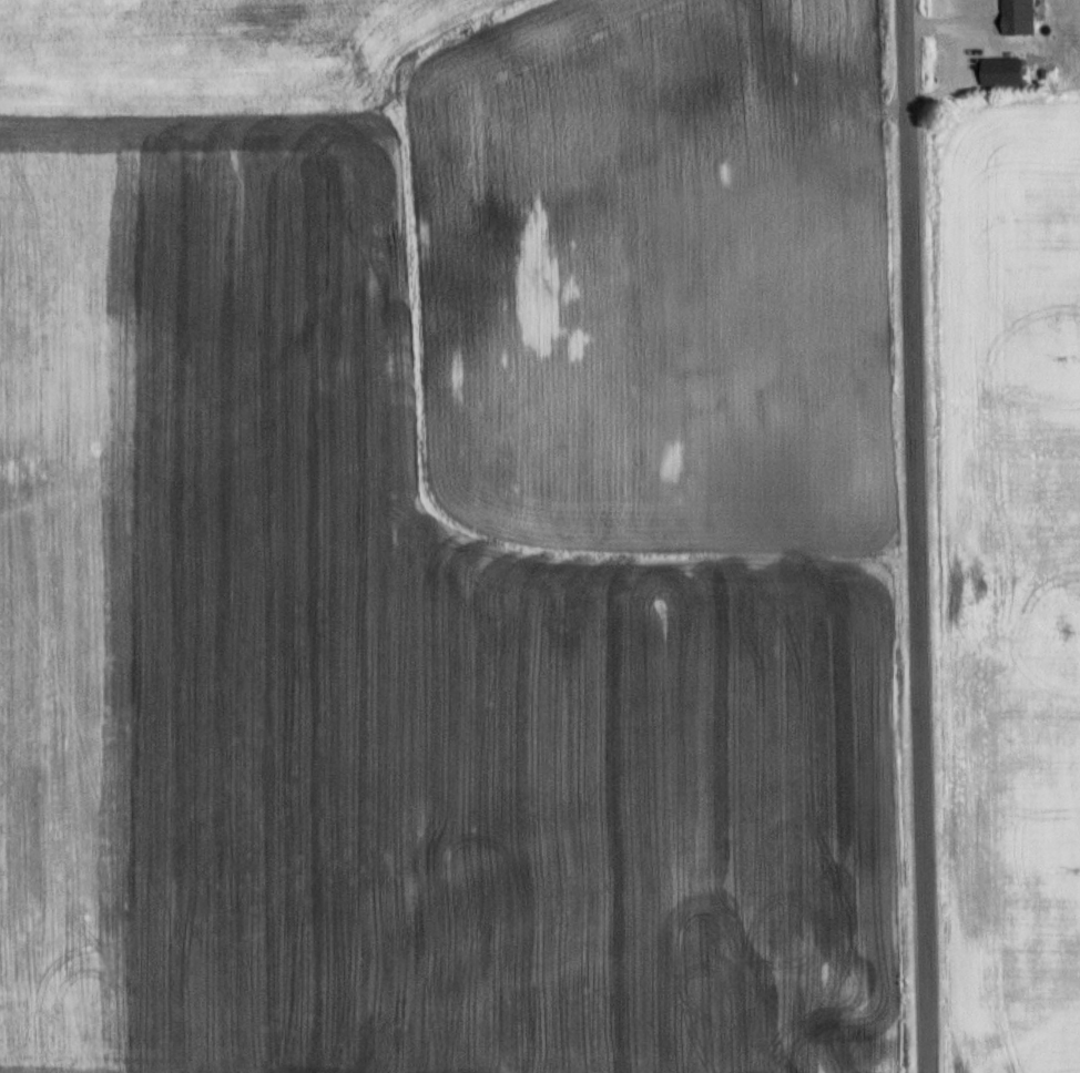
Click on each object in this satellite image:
building: (1026, 17)
road: (918, 536)

